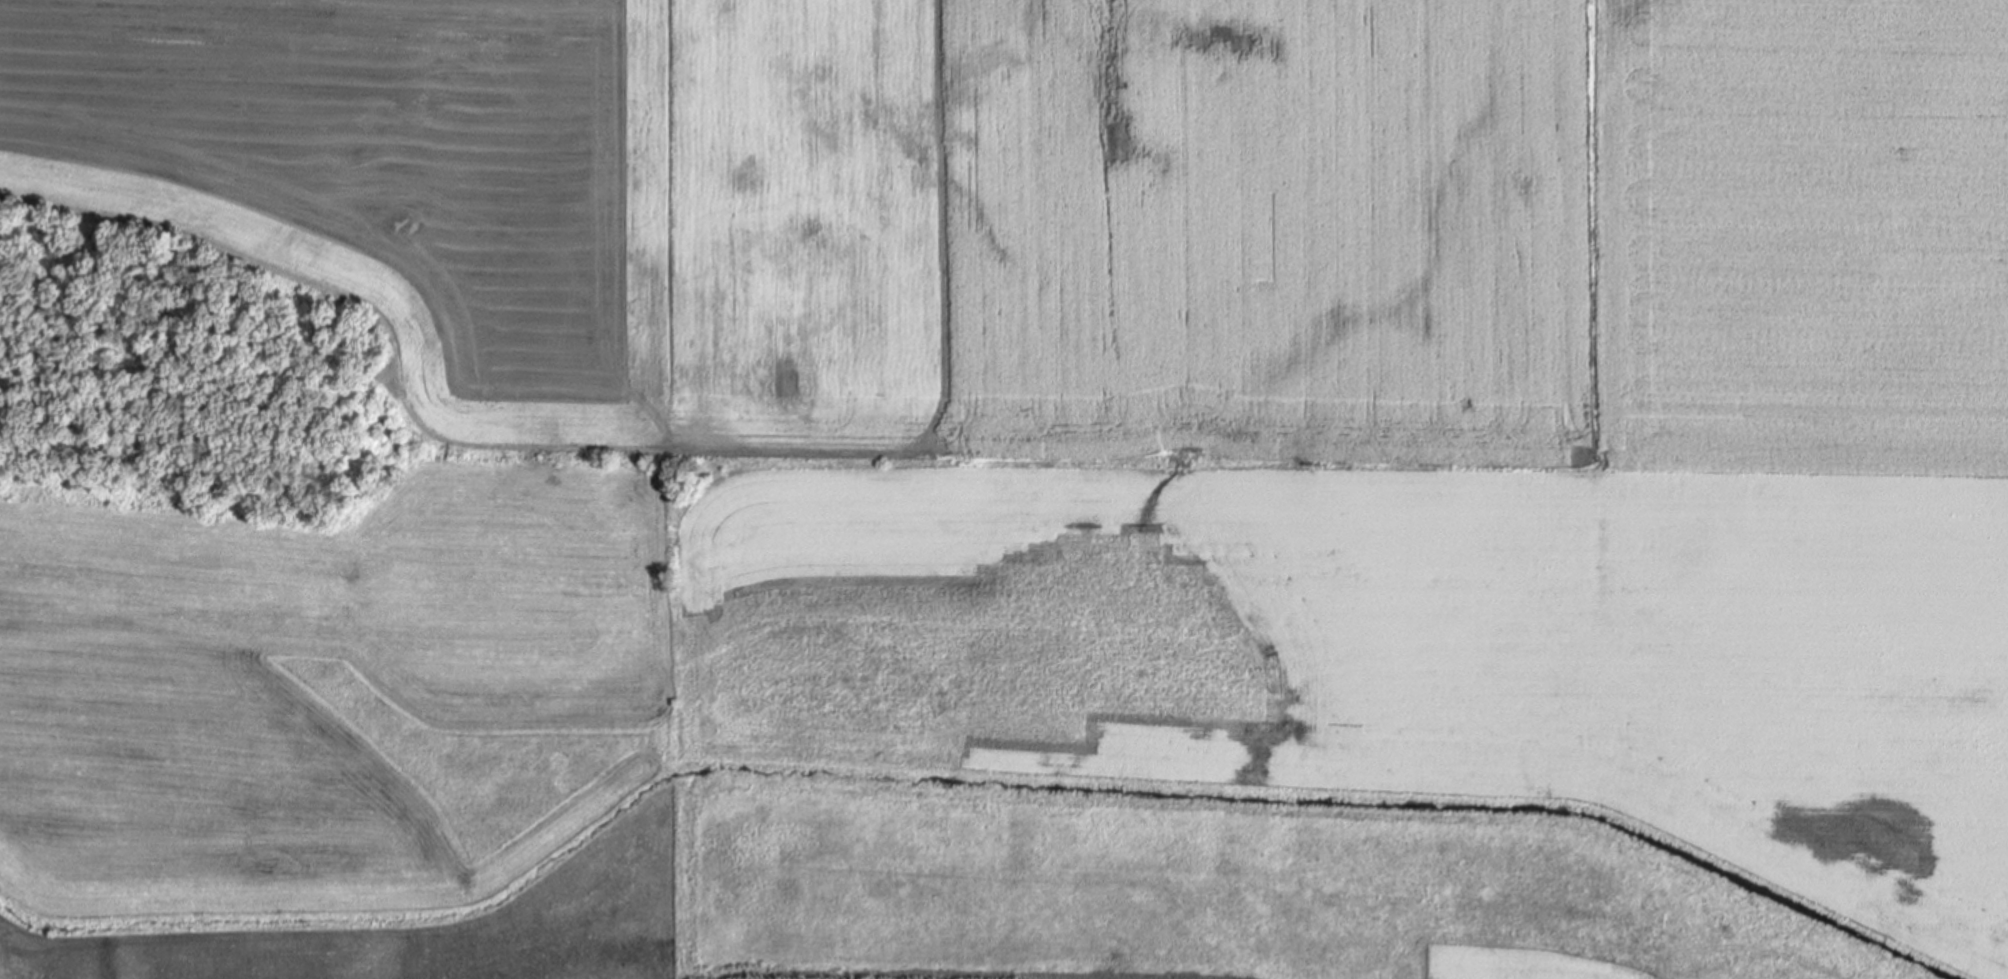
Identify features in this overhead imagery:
crop: (1501, 226)
crop: (1803, 236)

